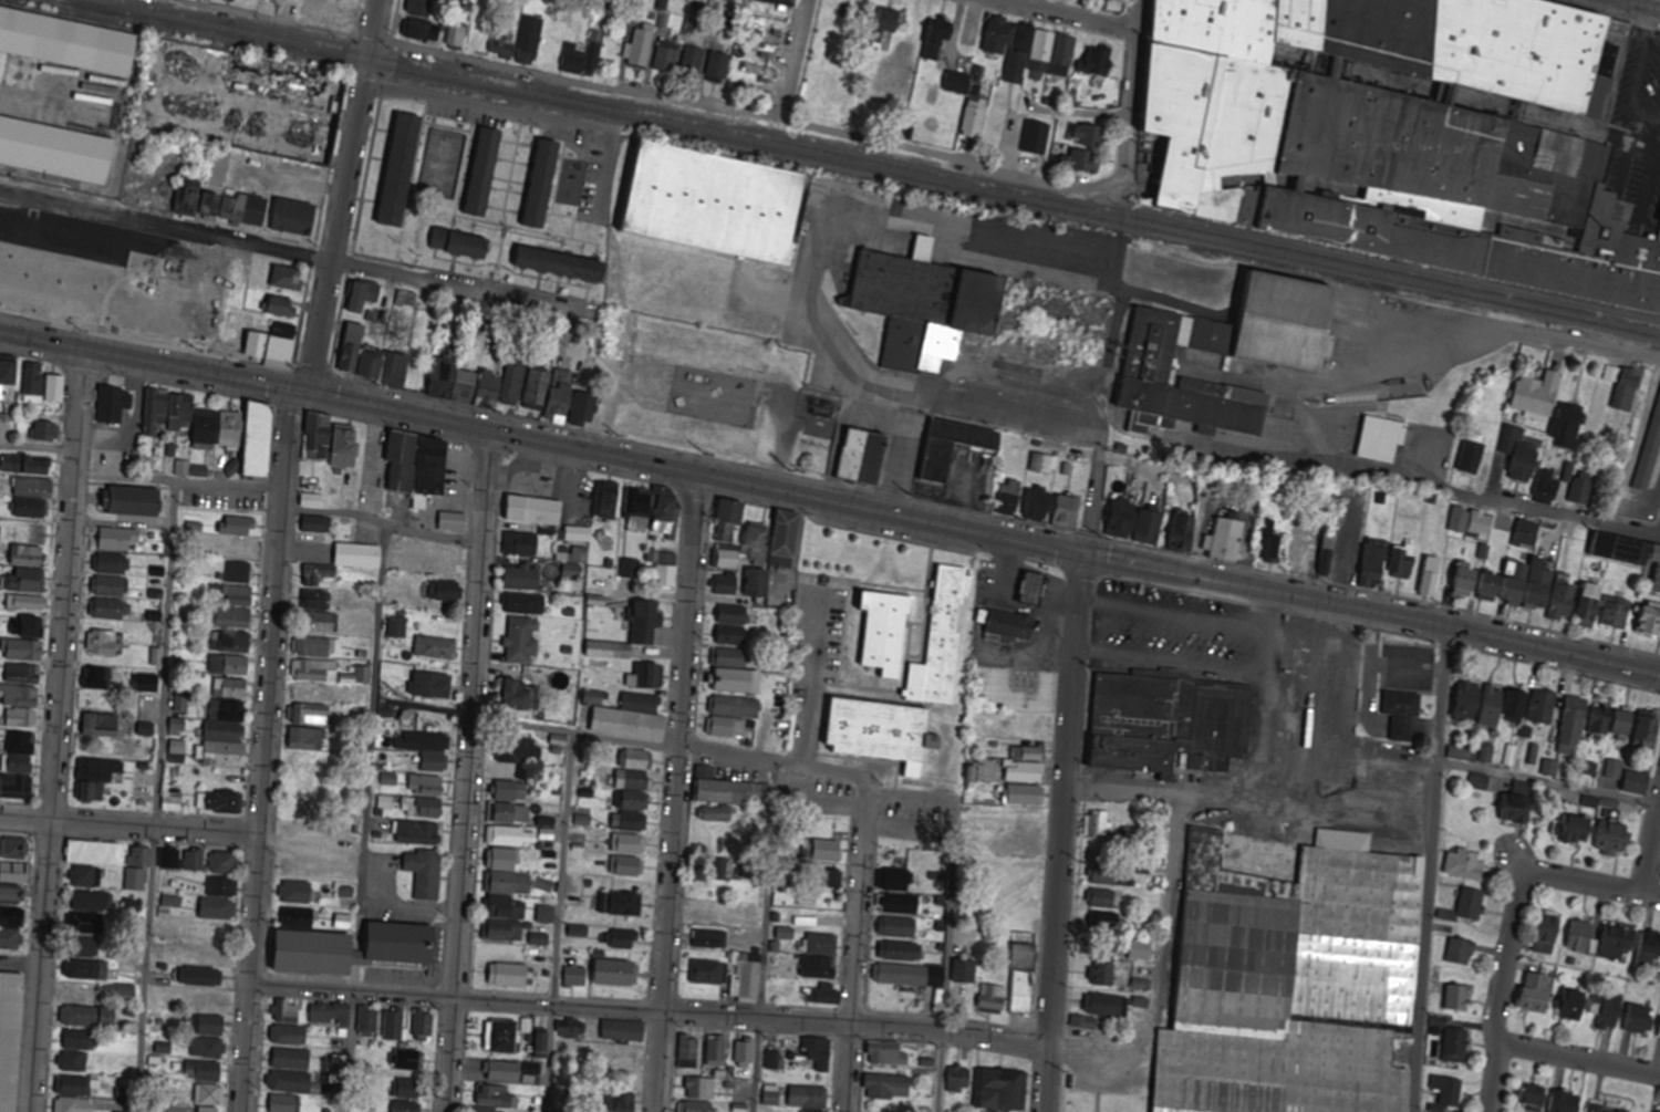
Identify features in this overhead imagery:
road: (1620, 0)
road: (1637, 6)
road: (1069, 14)
building: (63, 43)
road: (479, 59)
road: (797, 59)
building: (247, 102)
road: (485, 107)
building: (1403, 136)
building: (52, 153)
park: (443, 163)
railway: (886, 164)
railway: (862, 168)
road: (1039, 180)
road: (340, 196)
building: (722, 205)
road: (284, 252)
building: (926, 305)
road: (1590, 345)
building: (1285, 357)
traffic signals: (304, 394)
building: (701, 404)
road: (541, 443)
road: (38, 448)
road: (178, 482)
road: (1093, 505)
road: (1557, 512)
road: (335, 518)
traffic signals: (1082, 554)
road: (1111, 560)
building: (1037, 589)
road: (1401, 619)
building: (1007, 623)
building: (912, 692)
building: (1170, 724)
road: (526, 726)
road: (58, 730)
road: (266, 751)
road: (468, 771)
road: (1548, 784)
road: (674, 792)
road: (155, 797)
road: (366, 818)
road: (129, 827)
road: (1061, 832)
road: (863, 853)
road: (1651, 858)
road: (1429, 870)
road: (559, 923)
road: (1512, 925)
road: (947, 931)
road: (762, 937)
road: (21, 963)
road: (1158, 974)
building: (1291, 976)
road: (649, 1011)
building: (12, 1038)
road: (1578, 1060)

